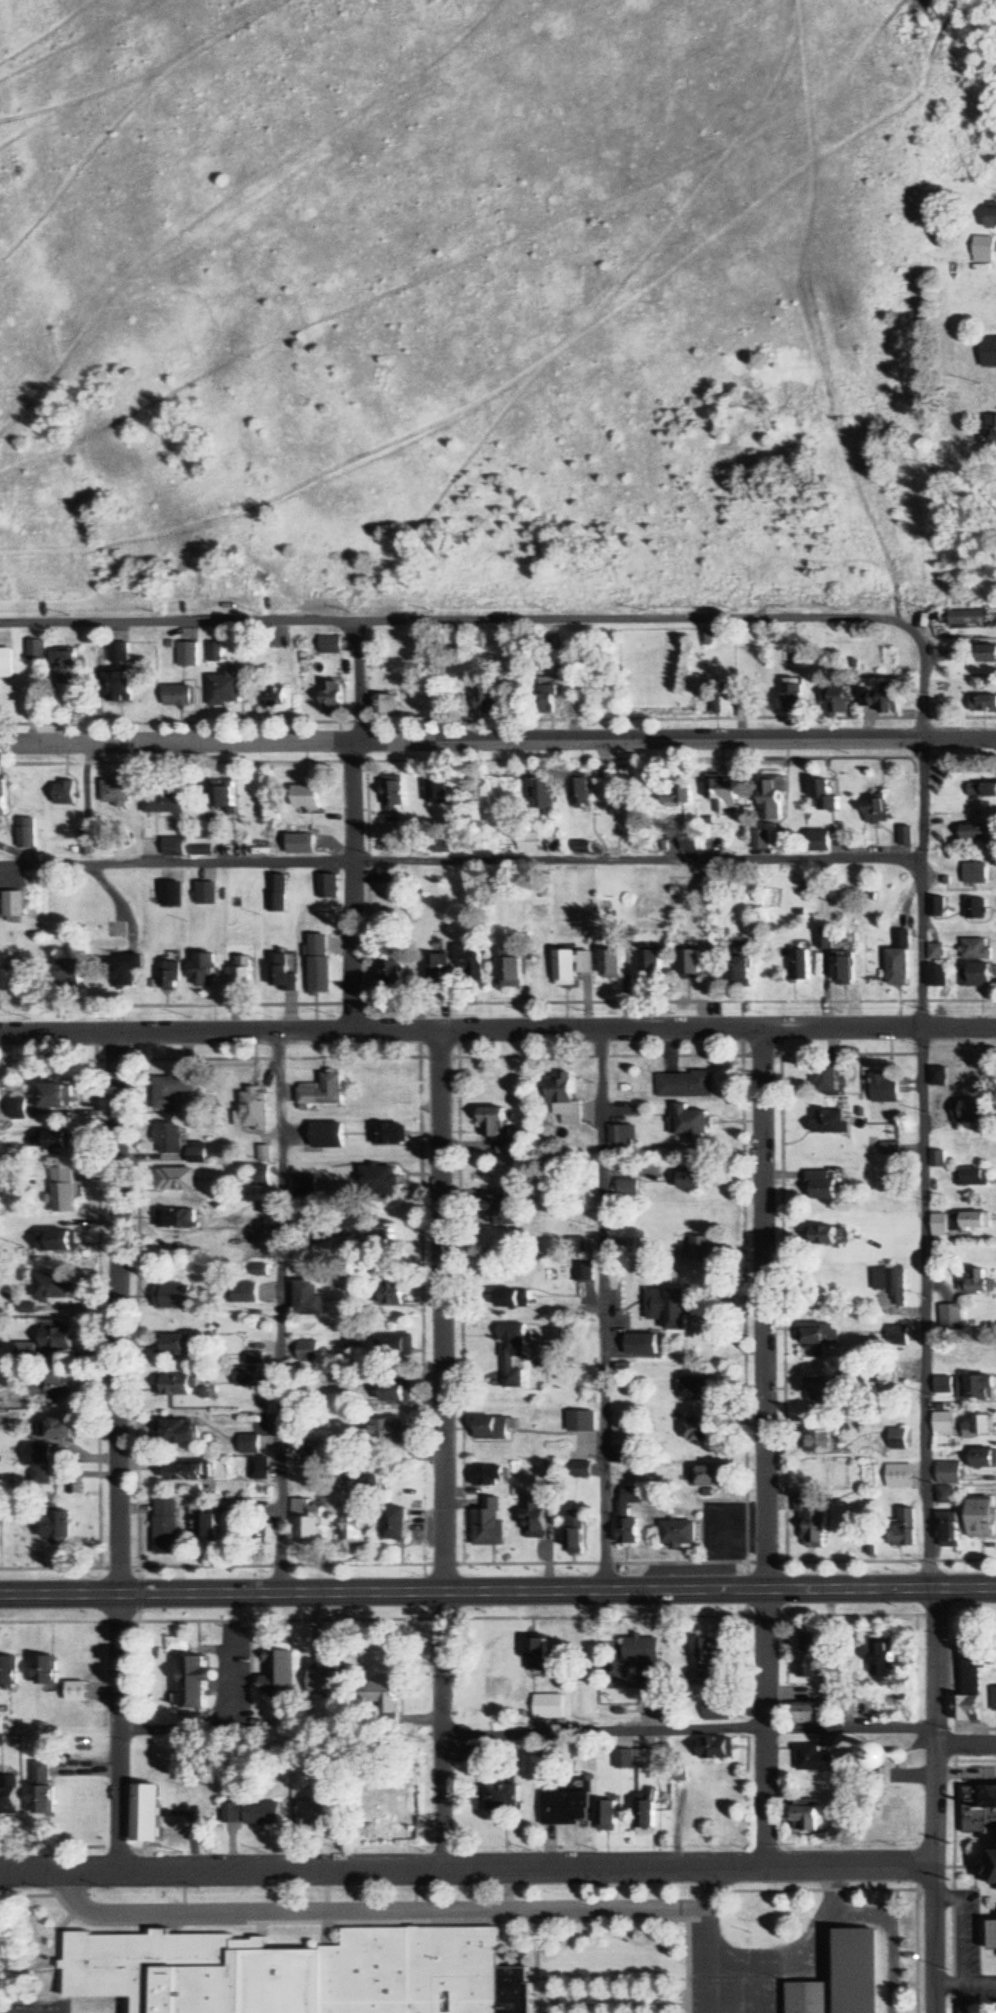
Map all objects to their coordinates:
building: (991, 218)
building: (984, 247)
building: (990, 353)
building: (992, 432)
building: (969, 617)
road: (512, 621)
building: (332, 646)
building: (39, 651)
building: (122, 653)
building: (987, 654)
building: (189, 655)
building: (216, 655)
building: (8, 663)
building: (69, 668)
building: (121, 687)
building: (225, 690)
building: (179, 696)
building: (275, 697)
building: (794, 697)
building: (333, 699)
building: (548, 699)
building: (837, 699)
building: (490, 701)
building: (881, 701)
building: (726, 703)
building: (982, 703)
building: (388, 705)
road: (497, 741)
building: (604, 772)
building: (439, 789)
building: (982, 790)
building: (582, 791)
building: (678, 792)
building: (65, 793)
building: (116, 793)
building: (543, 793)
building: (397, 794)
building: (725, 795)
building: (2, 796)
building: (223, 796)
building: (305, 796)
building: (826, 797)
building: (773, 799)
building: (163, 803)
building: (468, 803)
building: (877, 811)
road: (353, 825)
building: (27, 833)
building: (979, 833)
building: (935, 839)
building: (763, 840)
building: (529, 841)
building: (819, 841)
building: (300, 844)
building: (173, 847)
building: (202, 850)
road: (460, 861)
building: (977, 873)
building: (385, 875)
building: (326, 887)
building: (205, 893)
building: (276, 894)
building: (170, 895)
building: (14, 904)
building: (939, 907)
building: (978, 909)
building: (903, 938)
building: (827, 941)
building: (743, 948)
building: (978, 949)
building: (650, 962)
building: (469, 964)
building: (610, 964)
building: (319, 965)
building: (690, 965)
building: (801, 965)
building: (565, 967)
building: (900, 967)
building: (438, 969)
building: (124, 970)
building: (172, 970)
building: (204, 970)
building: (68, 971)
building: (511, 971)
building: (846, 971)
building: (392, 972)
building: (740, 972)
building: (240, 974)
building: (282, 974)
building: (940, 975)
building: (978, 975)
building: (14, 977)
road: (497, 1030)
building: (941, 1077)
building: (826, 1079)
building: (686, 1085)
building: (172, 1089)
building: (887, 1089)
building: (322, 1091)
building: (57, 1096)
building: (562, 1098)
building: (19, 1109)
building: (253, 1109)
building: (970, 1111)
building: (495, 1122)
building: (831, 1122)
building: (692, 1123)
building: (388, 1133)
building: (325, 1135)
building: (618, 1137)
building: (168, 1139)
building: (55, 1140)
building: (508, 1147)
building: (890, 1149)
building: (195, 1153)
road: (924, 1164)
building: (308, 1172)
building: (257, 1176)
building: (973, 1177)
building: (174, 1180)
building: (377, 1180)
building: (696, 1180)
building: (822, 1185)
building: (630, 1188)
building: (62, 1190)
building: (500, 1206)
building: (175, 1220)
building: (962, 1222)
building: (251, 1234)
building: (829, 1236)
building: (55, 1242)
building: (580, 1247)
building: (699, 1252)
building: (260, 1271)
building: (584, 1271)
building: (975, 1282)
building: (891, 1284)
building: (49, 1288)
building: (242, 1294)
building: (391, 1294)
building: (175, 1297)
building: (512, 1299)
building: (308, 1300)
building: (669, 1308)
road: (603, 1309)
road: (279, 1313)
building: (951, 1317)
building: (897, 1336)
building: (817, 1338)
building: (55, 1339)
building: (175, 1345)
building: (642, 1345)
building: (395, 1347)
building: (511, 1347)
building: (26, 1351)
building: (308, 1352)
building: (623, 1371)
building: (246, 1377)
building: (51, 1386)
building: (943, 1386)
building: (177, 1387)
building: (974, 1388)
building: (696, 1390)
building: (821, 1390)
building: (395, 1393)
building: (580, 1422)
building: (944, 1425)
building: (979, 1426)
building: (488, 1428)
building: (58, 1429)
building: (699, 1431)
building: (177, 1432)
building: (386, 1432)
building: (620, 1439)
building: (897, 1440)
building: (816, 1442)
building: (249, 1445)
road: (765, 1448)
road: (441, 1449)
road: (119, 1452)
building: (983, 1459)
building: (38, 1464)
building: (259, 1468)
building: (581, 1471)
building: (188, 1472)
building: (948, 1474)
building: (710, 1476)
building: (484, 1477)
building: (899, 1477)
building: (945, 1495)
building: (623, 1512)
building: (532, 1518)
building: (981, 1519)
building: (307, 1520)
building: (809, 1520)
building: (485, 1523)
building: (354, 1524)
building: (394, 1524)
building: (55, 1525)
building: (207, 1527)
building: (166, 1528)
building: (904, 1529)
building: (948, 1530)
building: (573, 1533)
building: (678, 1534)
road: (498, 1591)
building: (536, 1654)
building: (643, 1658)
building: (711, 1658)
building: (808, 1658)
building: (882, 1659)
building: (47, 1671)
building: (9, 1673)
building: (280, 1676)
building: (326, 1682)
building: (195, 1683)
building: (969, 1684)
building: (77, 1692)
building: (384, 1696)
building: (993, 1699)
building: (548, 1707)
building: (717, 1711)
building: (810, 1713)
road: (936, 1728)
road: (528, 1731)
building: (0, 1733)
road: (967, 1747)
building: (717, 1748)
building: (474, 1756)
building: (929, 1756)
building: (646, 1760)
building: (813, 1760)
building: (620, 1764)
building: (41, 1789)
building: (8, 1796)
building: (503, 1801)
building: (564, 1808)
building: (981, 1809)
building: (325, 1811)
building: (147, 1814)
building: (260, 1814)
building: (606, 1816)
building: (808, 1816)
building: (645, 1817)
building: (883, 1819)
road: (467, 1868)
building: (992, 1869)
building: (994, 1936)
road: (935, 1939)
building: (860, 1971)
building: (300, 1973)
building: (811, 1998)

